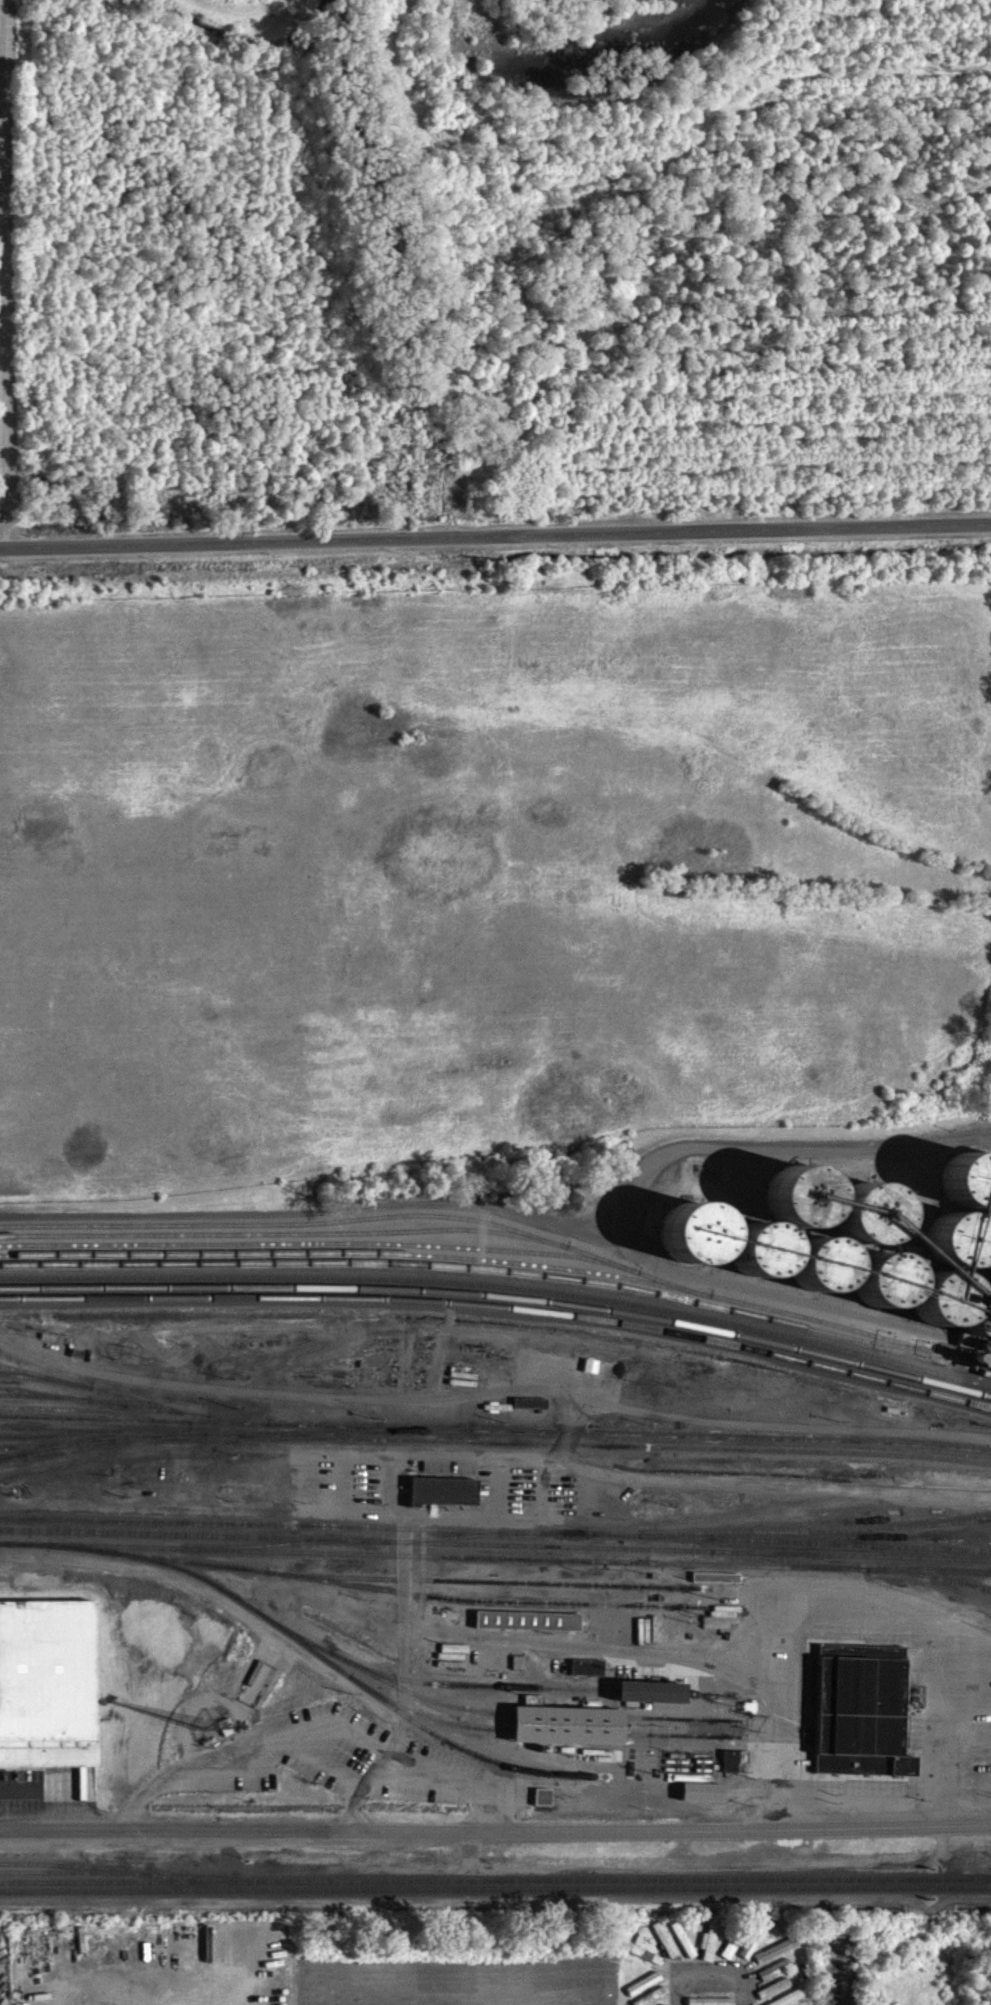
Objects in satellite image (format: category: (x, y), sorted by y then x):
road: (2, 273)
road: (495, 535)
road: (636, 1178)
building: (800, 1204)
railway: (363, 1227)
railway: (285, 1243)
railway: (322, 1252)
railway: (501, 1270)
railway: (480, 1278)
railway: (500, 1291)
railway: (500, 1295)
railway: (500, 1305)
railway: (500, 1315)
road: (444, 1364)
railway: (47, 1385)
road: (494, 1401)
railway: (46, 1407)
railway: (105, 1410)
railway: (135, 1424)
railway: (96, 1427)
railway: (105, 1439)
railway: (493, 1439)
railway: (61, 1443)
railway: (494, 1451)
railway: (59, 1453)
railway: (24, 1455)
railway: (13, 1464)
building: (440, 1490)
parking lot: (340, 1493)
road: (787, 1494)
road: (504, 1499)
road: (547, 1502)
road: (724, 1529)
road: (464, 1530)
railway: (495, 1539)
railway: (821, 1541)
railway: (468, 1544)
railway: (495, 1552)
railway: (183, 1557)
railway: (591, 1569)
railway: (789, 1569)
railway: (931, 1585)
building: (718, 1586)
railway: (494, 1590)
railway: (382, 1597)
road: (877, 1603)
building: (724, 1625)
building: (529, 1629)
road: (876, 1631)
building: (589, 1676)
road: (407, 1677)
building: (47, 1682)
railway: (382, 1686)
railway: (358, 1690)
railway: (472, 1693)
building: (652, 1700)
railway: (652, 1700)
railway: (713, 1703)
road: (789, 1704)
building: (862, 1719)
railway: (569, 1724)
railway: (428, 1726)
railway: (686, 1728)
building: (568, 1734)
road: (937, 1738)
road: (319, 1739)
railway: (568, 1740)
railway: (685, 1744)
road: (680, 1751)
road: (277, 1769)
building: (732, 1769)
road: (706, 1795)
building: (704, 1801)
building: (544, 1805)
road: (877, 1809)
railway: (343, 1817)
road: (495, 1838)
railway: (72, 1863)
railway: (119, 1871)
railway: (495, 1878)
railway: (495, 1888)
building: (711, 1949)
road: (711, 1972)
building: (775, 1997)
building: (797, 2002)

